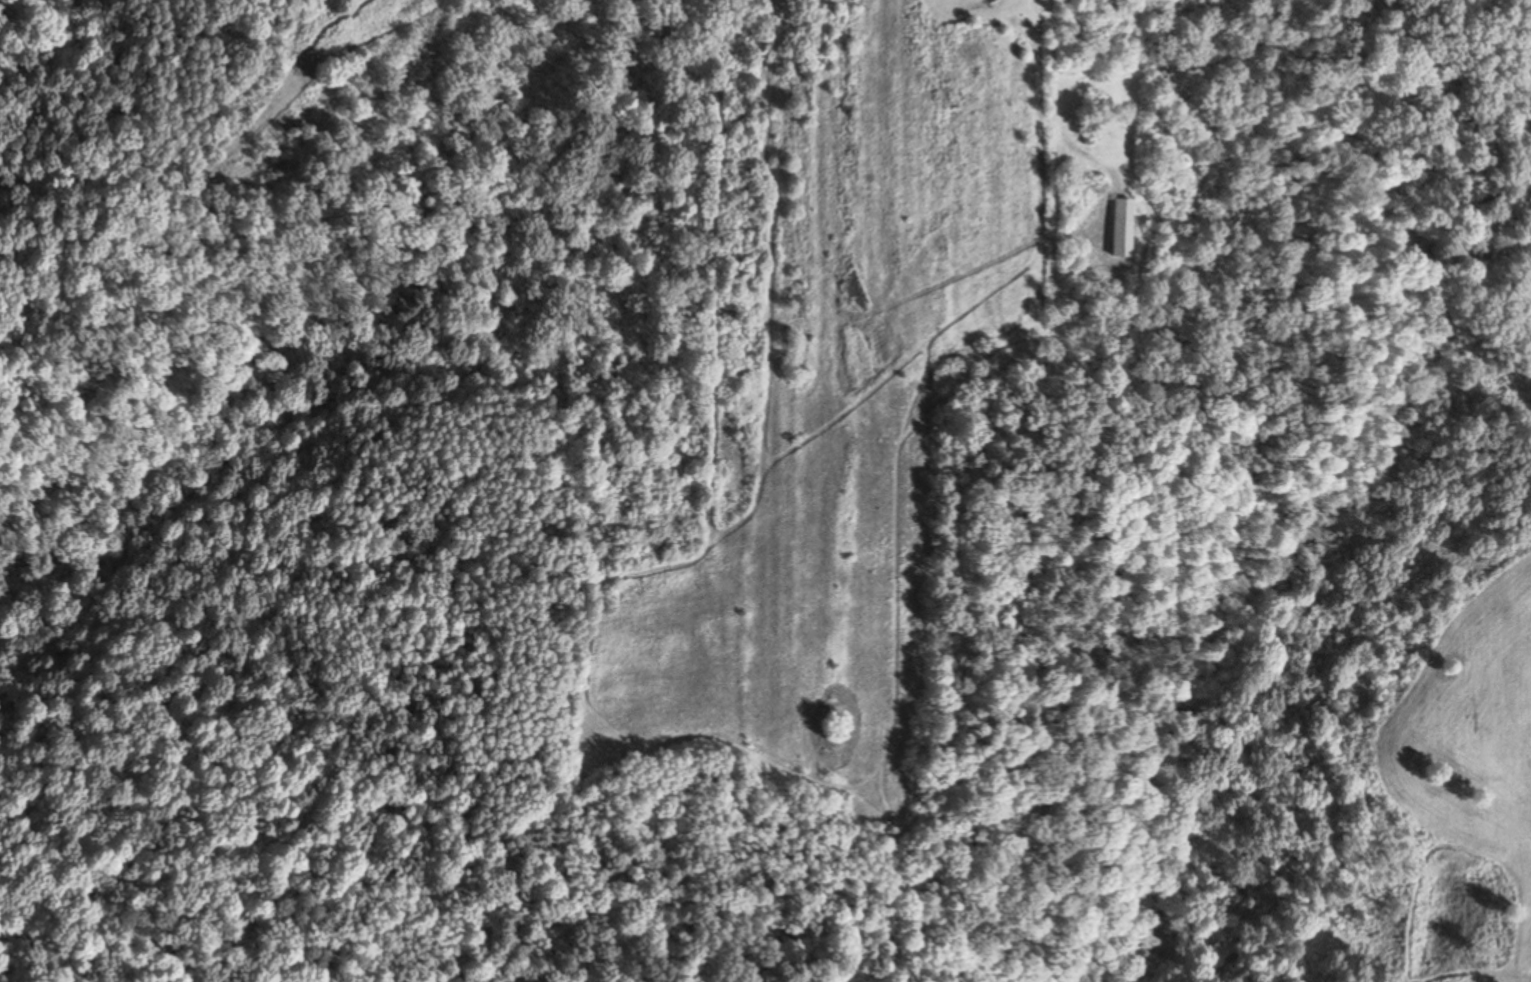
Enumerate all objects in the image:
building: (993, 1)
building: (1123, 210)

